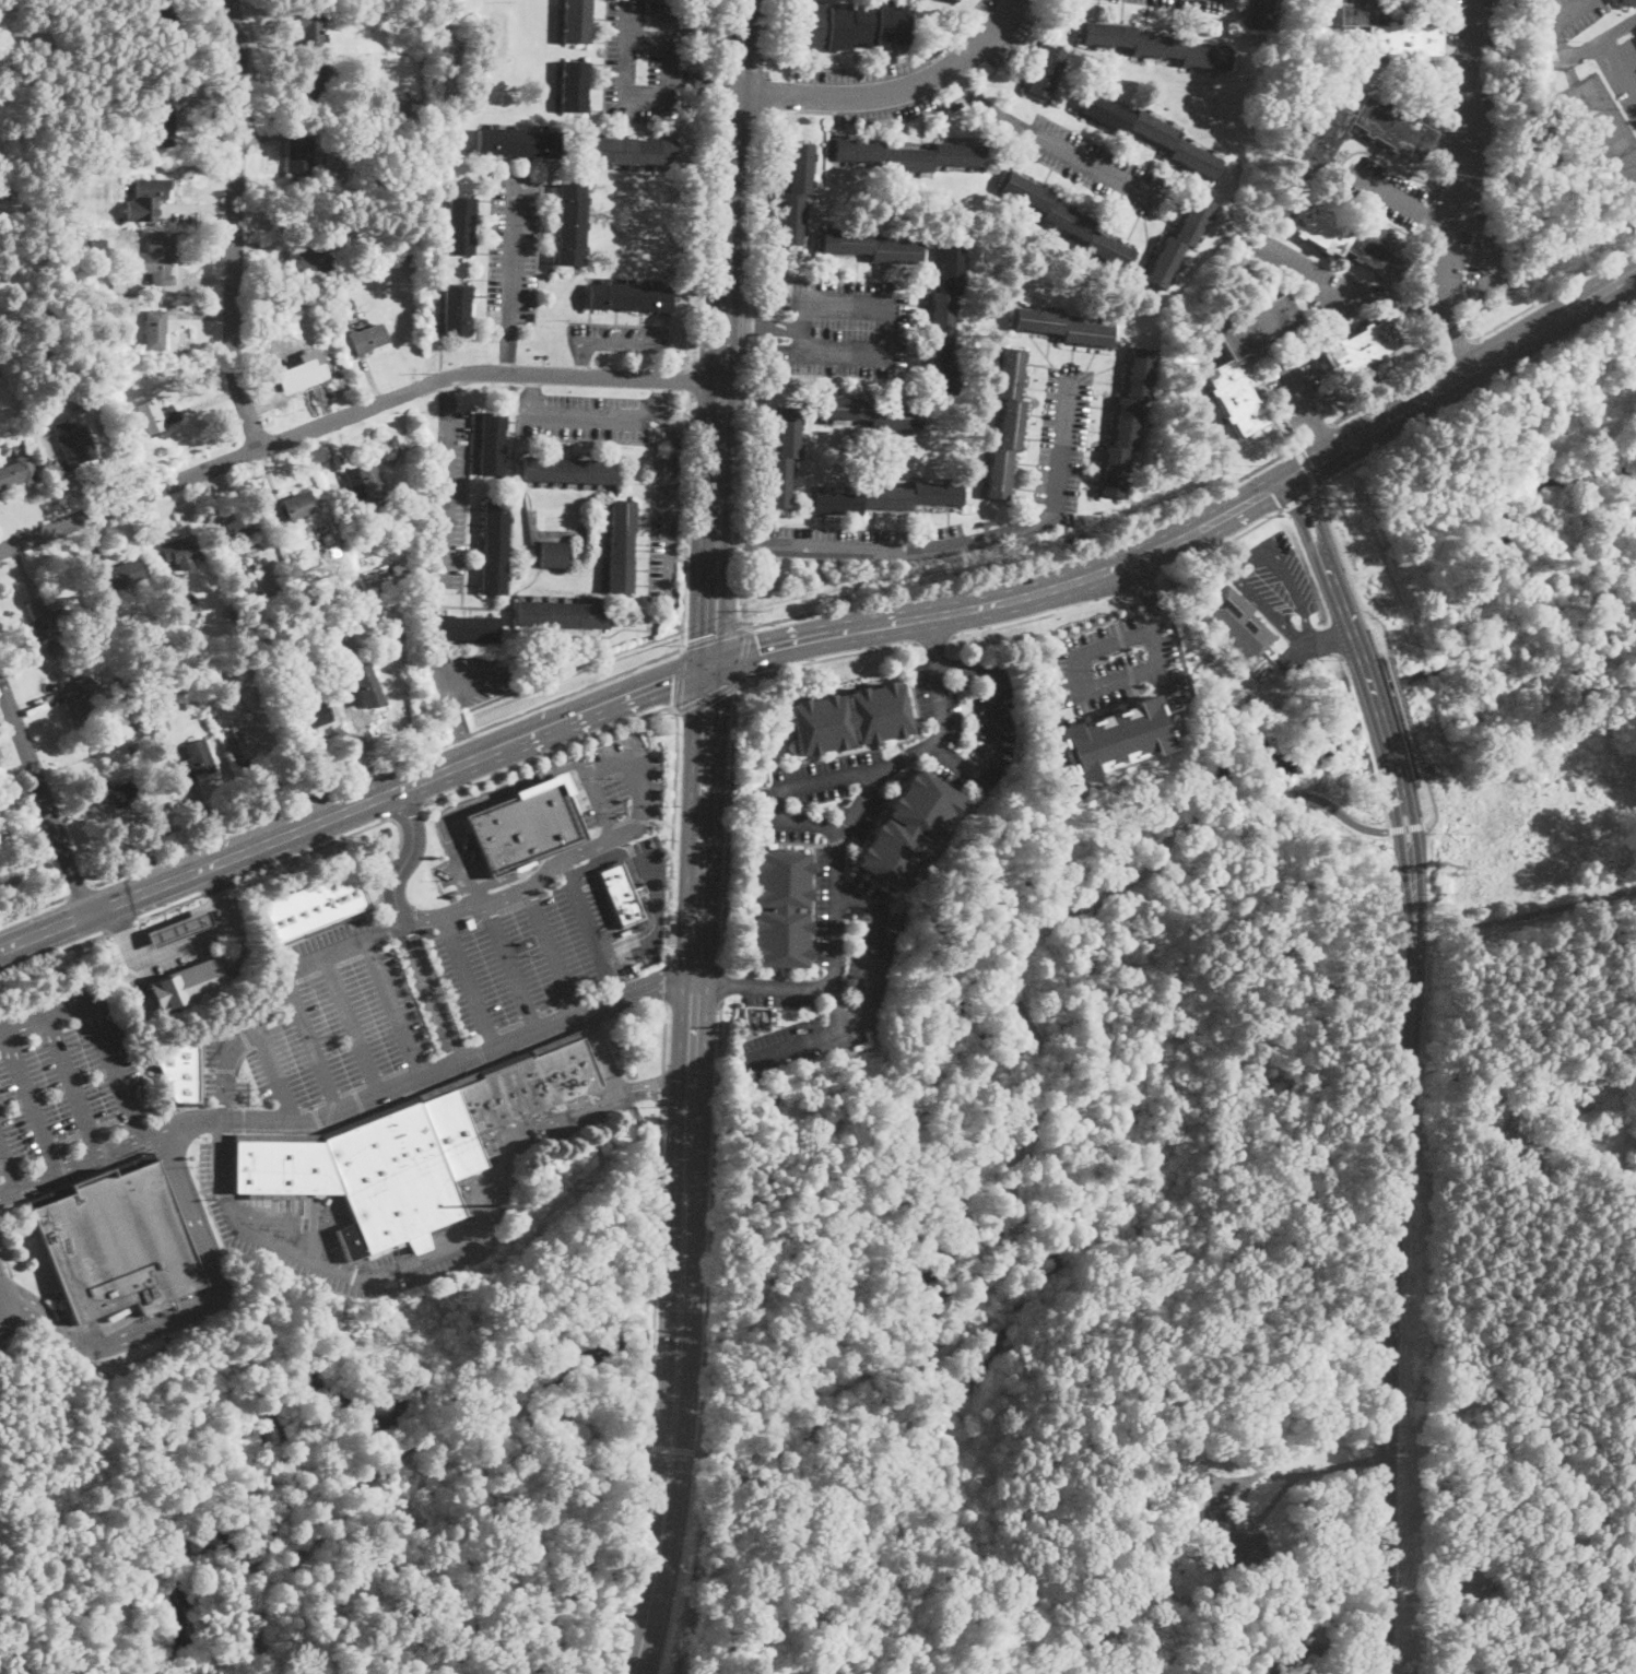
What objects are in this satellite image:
building: (954, 0)
building: (962, 0)
parking lot: (1228, 0)
building: (1629, 2)
parking lot: (1186, 4)
road: (1549, 9)
building: (1259, 13)
parking lot: (1576, 13)
building: (160, 16)
building: (575, 21)
building: (849, 25)
building: (311, 26)
road: (1619, 28)
building: (1389, 33)
road: (769, 37)
road: (621, 42)
building: (419, 45)
building: (1157, 46)
road: (254, 49)
road: (1579, 50)
parking lot: (644, 58)
road: (885, 64)
parking lot: (911, 71)
building: (1045, 71)
parking lot: (1621, 72)
building: (313, 78)
building: (116, 81)
road: (704, 83)
building: (573, 86)
road: (890, 92)
road: (763, 96)
building: (1439, 101)
building: (956, 105)
road: (984, 106)
parking lot: (1467, 109)
building: (114, 113)
building: (396, 122)
building: (163, 125)
building: (19, 126)
building: (1153, 133)
building: (1402, 137)
building: (517, 141)
building: (633, 152)
building: (908, 154)
building: (301, 155)
road: (1090, 164)
parking lot: (1093, 166)
road: (699, 182)
building: (4, 188)
road: (1457, 188)
building: (152, 189)
road: (720, 189)
road: (741, 190)
parking lot: (1385, 191)
building: (796, 192)
building: (348, 193)
road: (1400, 198)
building: (96, 207)
building: (1067, 221)
building: (570, 224)
road: (235, 225)
building: (459, 225)
building: (1347, 240)
building: (1179, 241)
building: (97, 243)
building: (871, 247)
road: (1633, 248)
parking lot: (514, 249)
road: (513, 250)
road: (1471, 256)
building: (305, 258)
building: (157, 260)
road: (1494, 261)
parking lot: (1444, 266)
parking lot: (1488, 267)
building: (116, 282)
parking lot: (1323, 282)
road: (1322, 285)
road: (1550, 292)
building: (629, 296)
road: (1419, 299)
building: (456, 309)
road: (885, 318)
building: (343, 319)
building: (946, 319)
road: (752, 326)
parking lot: (844, 326)
building: (1063, 328)
building: (155, 330)
parking lot: (617, 338)
building: (368, 339)
road: (623, 340)
building: (276, 344)
road: (1460, 346)
road: (509, 347)
building: (1360, 347)
road: (577, 357)
building: (303, 362)
building: (1225, 366)
building: (0, 372)
road: (751, 374)
road: (693, 379)
parking lot: (1296, 384)
road: (1296, 385)
road: (1390, 389)
road: (532, 391)
road: (1478, 392)
road: (446, 394)
road: (658, 394)
building: (82, 400)
road: (586, 409)
road: (356, 411)
building: (870, 413)
parking lot: (582, 415)
building: (157, 416)
building: (1128, 420)
building: (105, 422)
building: (1008, 424)
road: (1321, 429)
road: (1325, 433)
parking lot: (1060, 434)
building: (492, 443)
building: (74, 444)
building: (784, 457)
road: (1306, 465)
building: (568, 470)
building: (10, 475)
traffic signals: (1292, 478)
building: (364, 482)
road: (1482, 484)
road: (1273, 485)
road: (445, 491)
parking lot: (449, 496)
building: (886, 497)
road: (1302, 497)
road: (669, 498)
building: (296, 507)
road: (685, 518)
road: (708, 522)
road: (727, 523)
parking lot: (666, 526)
building: (237, 527)
road: (1198, 530)
road: (984, 537)
parking lot: (866, 541)
road: (739, 543)
road: (1219, 544)
building: (622, 546)
building: (495, 547)
building: (179, 549)
road: (1340, 550)
building: (555, 554)
road: (1041, 566)
road: (1235, 570)
road: (1329, 573)
building: (122, 574)
building: (1221, 581)
road: (1143, 588)
parking lot: (1276, 588)
building: (246, 591)
building: (189, 608)
road: (1111, 610)
building: (229, 613)
building: (562, 614)
road: (1041, 615)
building: (50, 621)
building: (344, 624)
building: (1236, 626)
building: (467, 627)
building: (328, 629)
road: (1379, 630)
traffic signals: (704, 636)
road: (716, 637)
road: (934, 638)
traffic signals: (762, 649)
road: (744, 652)
road: (827, 657)
road: (1127, 657)
building: (1211, 658)
parking lot: (1116, 663)
road: (431, 667)
building: (205, 668)
road: (1344, 668)
road: (1126, 674)
parking lot: (468, 675)
traffic signals: (674, 677)
road: (680, 677)
road: (1163, 680)
building: (365, 687)
building: (107, 688)
road: (707, 693)
building: (261, 699)
building: (79, 700)
traffic signals: (709, 706)
building: (309, 716)
road: (1403, 716)
building: (849, 717)
road: (554, 727)
road: (993, 728)
road: (1382, 728)
building: (1109, 736)
road: (1366, 739)
building: (256, 742)
road: (888, 743)
building: (132, 748)
road: (549, 752)
building: (199, 755)
road: (614, 764)
road: (388, 765)
road: (784, 788)
parking lot: (616, 790)
building: (120, 794)
parking lot: (826, 797)
road: (45, 798)
road: (1428, 802)
road: (473, 803)
road: (344, 812)
road: (405, 812)
road: (1386, 813)
road: (661, 821)
road: (703, 822)
road: (728, 823)
building: (528, 825)
road: (1404, 827)
building: (907, 829)
road: (1561, 829)
road: (672, 835)
building: (4, 839)
road: (599, 841)
road: (838, 847)
road: (307, 851)
road: (612, 853)
road: (408, 858)
road: (386, 863)
road: (190, 874)
parking lot: (467, 874)
road: (509, 874)
road: (212, 880)
road: (214, 888)
road: (640, 889)
road: (81, 891)
building: (622, 894)
road: (486, 899)
road: (169, 906)
building: (316, 907)
building: (779, 908)
road: (34, 910)
road: (119, 917)
building: (470, 924)
road: (121, 926)
road: (589, 927)
building: (174, 929)
gas station: (174, 929)
road: (45, 932)
road: (640, 933)
road: (811, 945)
road: (187, 948)
road: (552, 951)
road: (55, 953)
road: (511, 965)
parking lot: (827, 971)
road: (664, 980)
road: (469, 981)
road: (722, 985)
building: (185, 986)
road: (278, 989)
road: (859, 992)
road: (429, 994)
parking lot: (413, 1002)
road: (837, 1005)
road: (395, 1009)
road: (621, 1011)
building: (763, 1014)
road: (575, 1015)
road: (97, 1023)
road: (1521, 1025)
road: (353, 1026)
road: (662, 1036)
road: (313, 1045)
road: (601, 1051)
road: (692, 1066)
building: (181, 1071)
road: (275, 1072)
road: (1470, 1074)
road: (1059, 1077)
road: (72, 1083)
road: (661, 1087)
parking lot: (67, 1089)
road: (31, 1099)
road: (344, 1109)
building: (1515, 1131)
road: (110, 1146)
building: (413, 1147)
road: (8, 1164)
road: (711, 1226)
road: (1393, 1229)
parking lot: (328, 1238)
building: (116, 1241)
road: (442, 1248)
road: (5, 1260)
road: (657, 1276)
road: (186, 1312)
road: (674, 1412)
road: (672, 1450)
road: (389, 1464)
road: (1294, 1474)
building: (1143, 1504)
building: (1223, 1539)
building: (1633, 1569)
building: (1475, 1575)
building: (1320, 1650)
building: (1288, 1658)
road: (635, 1671)

